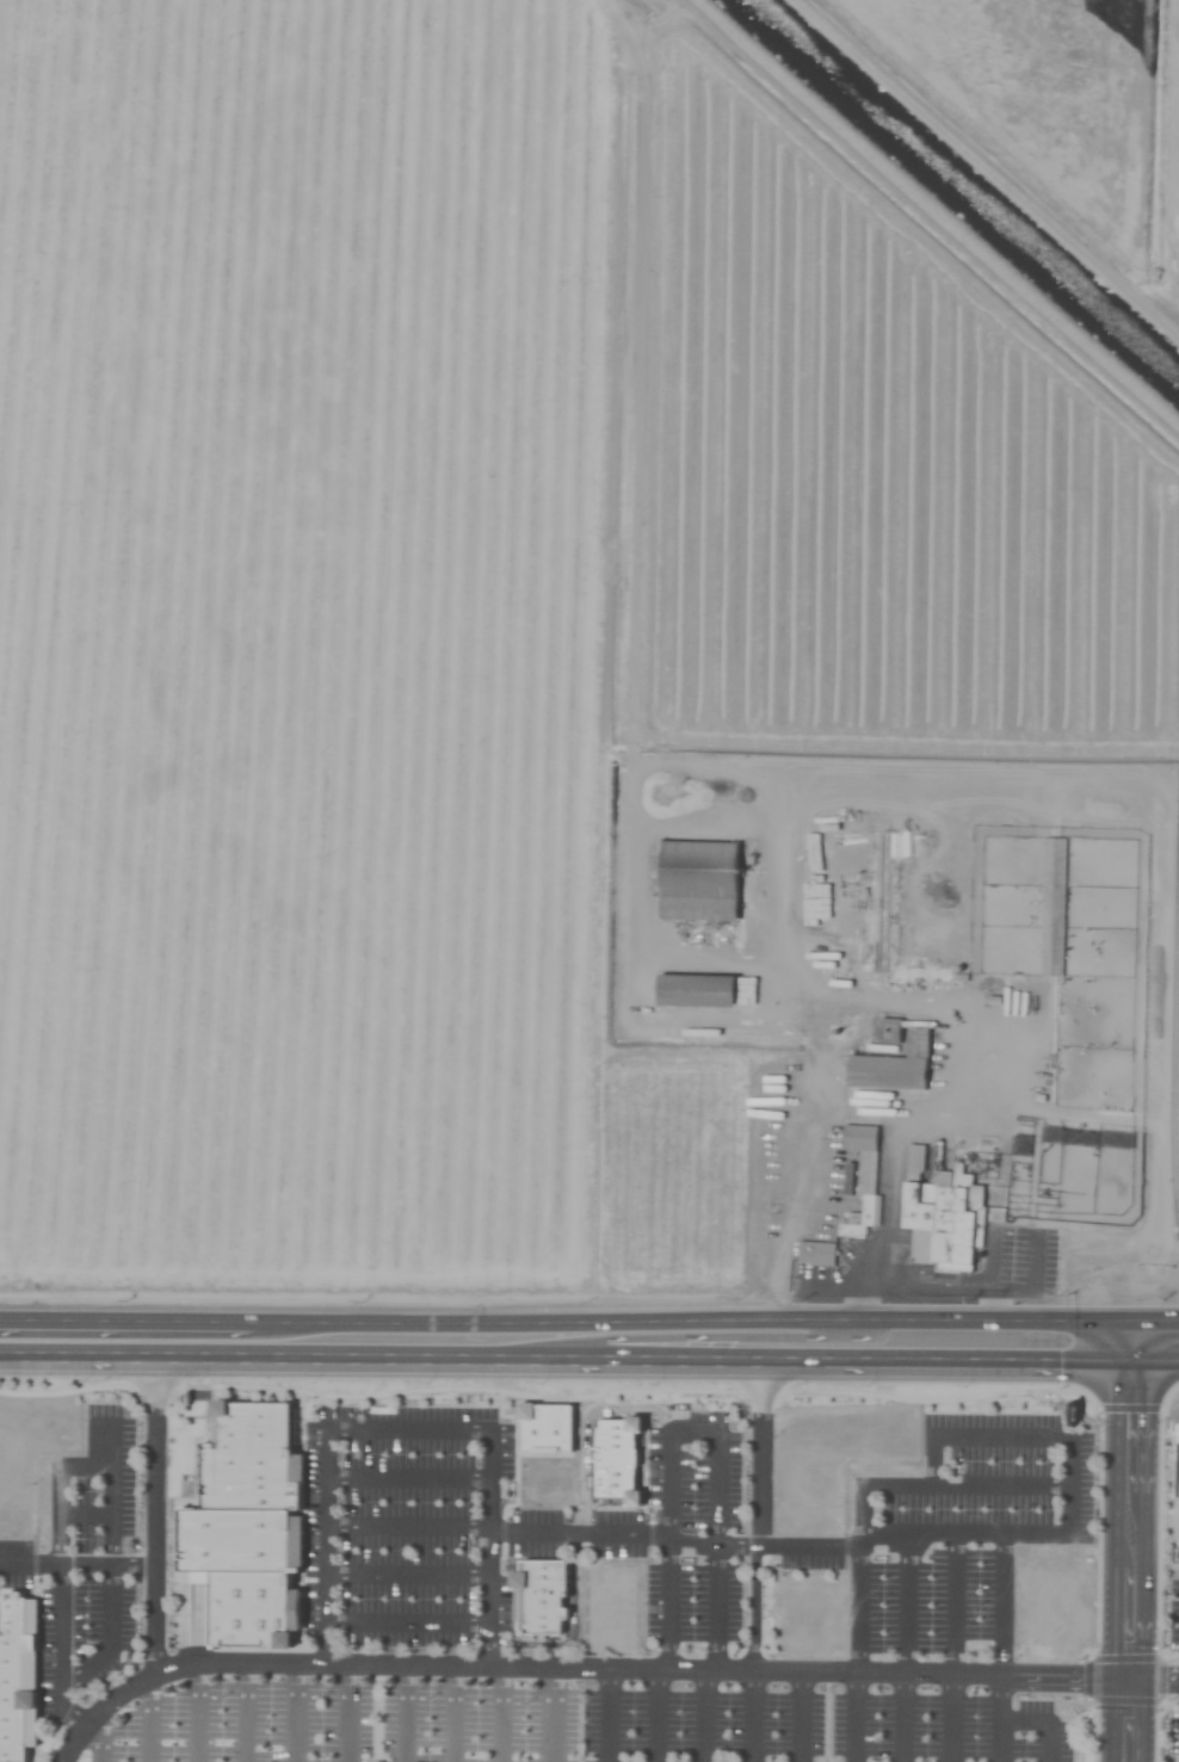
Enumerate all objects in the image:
road: (986, 173)
building: (708, 865)
crop: (589, 880)
building: (885, 902)
building: (1057, 908)
building: (699, 991)
building: (891, 1072)
building: (862, 1168)
building: (942, 1213)
building: (815, 1253)
road: (589, 1317)
road: (699, 1335)
road: (16, 1338)
road: (582, 1344)
traffic signals: (1134, 1352)
road: (1156, 1352)
road: (409, 1424)
building: (253, 1428)
road: (154, 1452)
building: (623, 1458)
building: (537, 1459)
building: (837, 1463)
building: (248, 1480)
road: (541, 1533)
road: (1134, 1540)
building: (236, 1541)
road: (754, 1554)
road: (78, 1563)
building: (251, 1587)
building: (548, 1589)
building: (615, 1599)
building: (1047, 1603)
building: (809, 1613)
road: (155, 1618)
building: (251, 1624)
road: (576, 1665)
building: (14, 1675)
road: (1156, 1677)

